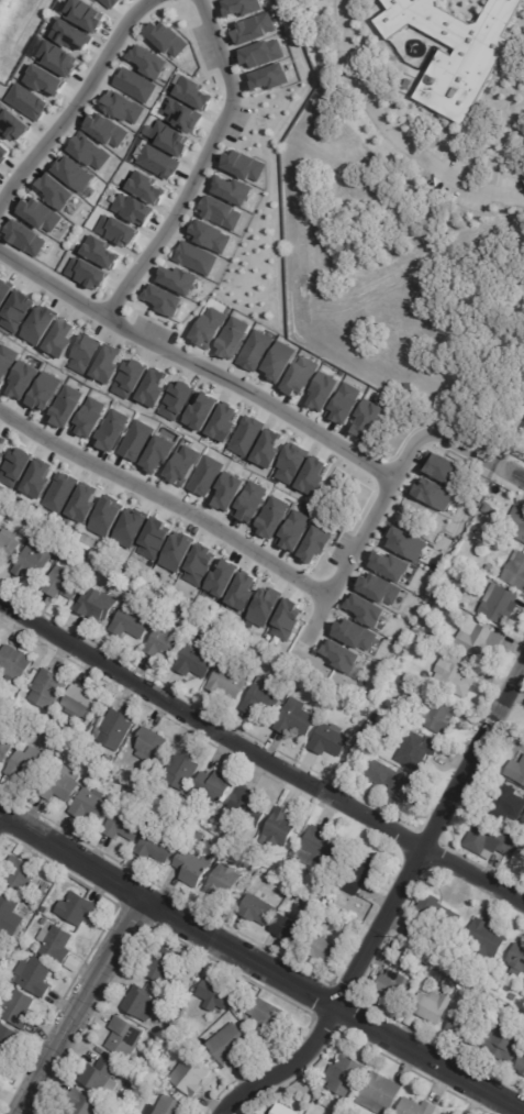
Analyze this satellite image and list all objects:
building: (110, 3)
building: (239, 7)
building: (83, 14)
building: (254, 29)
building: (73, 35)
building: (167, 40)
building: (261, 54)
building: (58, 58)
building: (148, 62)
building: (457, 75)
building: (269, 78)
building: (46, 80)
building: (135, 85)
building: (193, 93)
building: (27, 101)
road: (75, 102)
building: (123, 108)
building: (180, 115)
building: (12, 124)
building: (105, 130)
road: (394, 133)
building: (167, 137)
building: (4, 150)
building: (89, 152)
building: (157, 162)
road: (200, 165)
building: (244, 166)
building: (74, 173)
building: (147, 188)
building: (231, 190)
building: (56, 191)
building: (132, 209)
building: (220, 212)
building: (40, 214)
building: (118, 230)
building: (210, 236)
building: (25, 238)
building: (101, 252)
building: (196, 258)
building: (86, 273)
building: (177, 279)
building: (4, 291)
building: (164, 300)
building: (16, 312)
building: (38, 326)
building: (208, 328)
building: (232, 338)
building: (60, 339)
building: (254, 351)
building: (85, 354)
building: (5, 362)
building: (278, 362)
building: (107, 364)
road: (194, 366)
building: (300, 376)
building: (130, 378)
building: (22, 380)
building: (153, 388)
building: (44, 391)
building: (322, 391)
building: (177, 400)
building: (344, 404)
building: (66, 406)
building: (201, 411)
building: (89, 418)
building: (366, 419)
building: (223, 422)
building: (112, 430)
building: (246, 437)
building: (133, 439)
building: (2, 445)
building: (268, 449)
building: (157, 453)
building: (291, 464)
building: (182, 465)
building: (438, 466)
building: (14, 467)
building: (459, 471)
road: (510, 473)
building: (205, 476)
building: (312, 477)
building: (36, 479)
building: (227, 492)
building: (59, 493)
building: (431, 493)
road: (379, 499)
road: (164, 500)
building: (250, 501)
building: (82, 503)
building: (492, 509)
building: (105, 517)
building: (271, 518)
building: (519, 522)
building: (129, 529)
building: (293, 531)
building: (153, 538)
building: (404, 543)
building: (315, 544)
building: (8, 550)
building: (57, 552)
building: (175, 553)
building: (34, 562)
building: (198, 565)
building: (389, 565)
building: (490, 567)
building: (516, 572)
building: (220, 580)
building: (65, 584)
building: (378, 588)
building: (241, 592)
building: (98, 604)
building: (501, 604)
building: (263, 608)
building: (367, 611)
building: (446, 613)
building: (286, 620)
building: (132, 622)
building: (353, 633)
building: (227, 637)
building: (479, 640)
building: (165, 642)
building: (419, 643)
building: (0, 644)
building: (260, 653)
building: (339, 655)
building: (198, 659)
building: (15, 664)
building: (259, 666)
building: (456, 675)
building: (231, 680)
building: (405, 682)
building: (48, 690)
building: (264, 698)
building: (341, 701)
building: (81, 704)
building: (439, 716)
building: (297, 719)
building: (113, 728)
building: (54, 729)
building: (369, 731)
building: (331, 740)
building: (149, 744)
building: (5, 748)
building: (420, 751)
road: (260, 753)
building: (354, 753)
building: (108, 760)
building: (30, 766)
building: (182, 770)
building: (516, 771)
building: (141, 781)
building: (391, 782)
building: (215, 784)
building: (59, 786)
building: (91, 805)
building: (248, 806)
building: (509, 806)
building: (125, 824)
building: (281, 827)
building: (199, 837)
building: (492, 840)
building: (158, 846)
building: (322, 846)
road: (71, 856)
building: (194, 868)
building: (363, 873)
building: (22, 876)
building: (230, 878)
road: (391, 904)
building: (76, 907)
building: (8, 911)
building: (260, 911)
building: (439, 914)
building: (45, 920)
building: (354, 922)
building: (290, 930)
building: (0, 933)
building: (414, 935)
building: (488, 939)
building: (56, 944)
building: (322, 949)
building: (517, 959)
building: (427, 962)
building: (74, 963)
building: (164, 964)
building: (408, 970)
building: (436, 971)
building: (36, 975)
building: (420, 975)
building: (461, 984)
building: (398, 989)
building: (499, 989)
building: (517, 989)
building: (216, 993)
building: (142, 1003)
building: (175, 1003)
road: (79, 1006)
building: (21, 1007)
road: (332, 1007)
building: (434, 1010)
building: (508, 1011)
building: (269, 1013)
building: (412, 1021)
building: (467, 1029)
building: (124, 1037)
building: (9, 1040)
building: (228, 1043)
building: (506, 1044)
building: (522, 1065)
building: (191, 1074)
building: (345, 1076)
building: (100, 1077)
building: (141, 1080)
building: (383, 1090)
building: (85, 1103)
building: (172, 1106)
building: (417, 1106)
building: (283, 1110)
building: (447, 1113)

